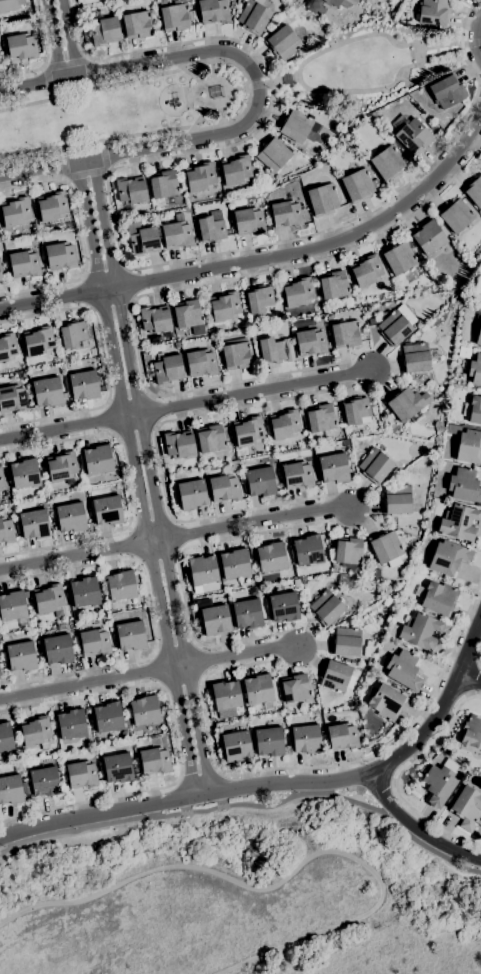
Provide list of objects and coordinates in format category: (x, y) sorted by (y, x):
building: (332, 2)
building: (383, 2)
building: (10, 5)
building: (233, 5)
building: (213, 11)
building: (434, 11)
building: (253, 16)
building: (174, 17)
building: (137, 24)
building: (104, 31)
road: (61, 39)
road: (476, 40)
road: (397, 41)
building: (283, 42)
building: (21, 46)
road: (46, 55)
road: (66, 61)
road: (303, 63)
road: (90, 73)
road: (254, 76)
building: (288, 78)
road: (480, 82)
road: (34, 84)
road: (381, 87)
road: (249, 90)
building: (447, 92)
park: (119, 111)
building: (375, 113)
building: (334, 115)
building: (296, 125)
building: (431, 125)
building: (411, 133)
building: (325, 144)
building: (273, 153)
road: (63, 161)
building: (388, 163)
road: (53, 168)
road: (102, 170)
building: (236, 170)
building: (200, 177)
building: (163, 184)
building: (358, 185)
building: (131, 190)
building: (474, 190)
building: (322, 199)
building: (52, 206)
building: (15, 212)
building: (286, 214)
building: (456, 215)
building: (249, 221)
building: (211, 229)
building: (178, 233)
road: (80, 235)
building: (429, 237)
building: (142, 239)
road: (117, 240)
building: (9, 244)
building: (60, 255)
building: (398, 257)
road: (263, 260)
building: (25, 264)
road: (104, 268)
building: (366, 271)
building: (0, 275)
road: (132, 283)
building: (333, 285)
building: (478, 286)
road: (179, 288)
road: (87, 292)
building: (298, 292)
building: (447, 296)
building: (259, 299)
building: (468, 299)
road: (111, 305)
building: (225, 306)
building: (317, 307)
building: (451, 307)
building: (189, 316)
building: (329, 317)
building: (155, 320)
building: (372, 321)
building: (396, 325)
building: (478, 327)
building: (73, 333)
building: (345, 334)
building: (18, 335)
building: (38, 341)
building: (311, 342)
building: (177, 344)
building: (8, 346)
building: (461, 349)
building: (272, 350)
building: (236, 355)
building: (417, 357)
building: (0, 362)
building: (201, 362)
road: (105, 365)
building: (167, 369)
building: (475, 369)
building: (49, 372)
building: (84, 385)
building: (439, 387)
building: (47, 392)
road: (252, 394)
building: (12, 398)
road: (129, 398)
building: (403, 404)
road: (153, 410)
building: (356, 410)
building: (473, 410)
road: (111, 417)
building: (321, 418)
building: (285, 424)
road: (65, 427)
road: (136, 429)
building: (248, 431)
road: (106, 433)
building: (211, 438)
building: (346, 443)
building: (179, 444)
building: (467, 444)
road: (159, 459)
building: (98, 460)
building: (375, 465)
building: (62, 467)
building: (333, 468)
building: (396, 471)
building: (25, 473)
building: (297, 475)
road: (142, 478)
building: (1, 479)
building: (260, 481)
building: (225, 484)
building: (464, 485)
building: (0, 489)
building: (192, 494)
building: (396, 499)
building: (107, 510)
building: (71, 517)
road: (152, 520)
road: (253, 521)
building: (459, 522)
building: (34, 524)
building: (6, 530)
road: (177, 536)
building: (322, 537)
road: (65, 544)
road: (132, 544)
building: (385, 546)
building: (308, 550)
road: (76, 552)
building: (252, 553)
building: (349, 553)
road: (157, 555)
building: (271, 557)
building: (448, 557)
road: (178, 564)
building: (234, 564)
building: (326, 566)
building: (202, 571)
building: (375, 576)
building: (304, 581)
building: (347, 581)
building: (121, 585)
building: (387, 589)
building: (84, 592)
building: (437, 597)
building: (48, 598)
building: (387, 601)
building: (284, 606)
building: (14, 607)
building: (326, 608)
building: (247, 614)
road: (151, 615)
building: (214, 618)
building: (422, 631)
building: (131, 636)
building: (94, 642)
building: (345, 642)
road: (174, 648)
building: (57, 649)
building: (369, 649)
building: (21, 656)
road: (237, 657)
road: (199, 660)
building: (347, 660)
building: (3, 661)
building: (353, 662)
road: (156, 668)
building: (403, 669)
building: (335, 675)
road: (469, 679)
road: (183, 680)
road: (89, 684)
building: (296, 688)
building: (259, 690)
building: (226, 695)
building: (386, 702)
building: (145, 710)
building: (108, 717)
building: (71, 724)
building: (35, 732)
building: (472, 732)
building: (121, 734)
building: (342, 736)
building: (5, 737)
building: (306, 739)
road: (174, 740)
building: (88, 741)
building: (269, 741)
building: (236, 745)
building: (154, 760)
building: (19, 766)
road: (314, 766)
building: (117, 768)
road: (198, 773)
building: (81, 774)
road: (398, 777)
building: (44, 782)
building: (440, 782)
road: (281, 783)
building: (26, 788)
building: (11, 790)
road: (248, 805)
building: (467, 807)
road: (414, 828)
road: (290, 874)
park: (244, 897)

